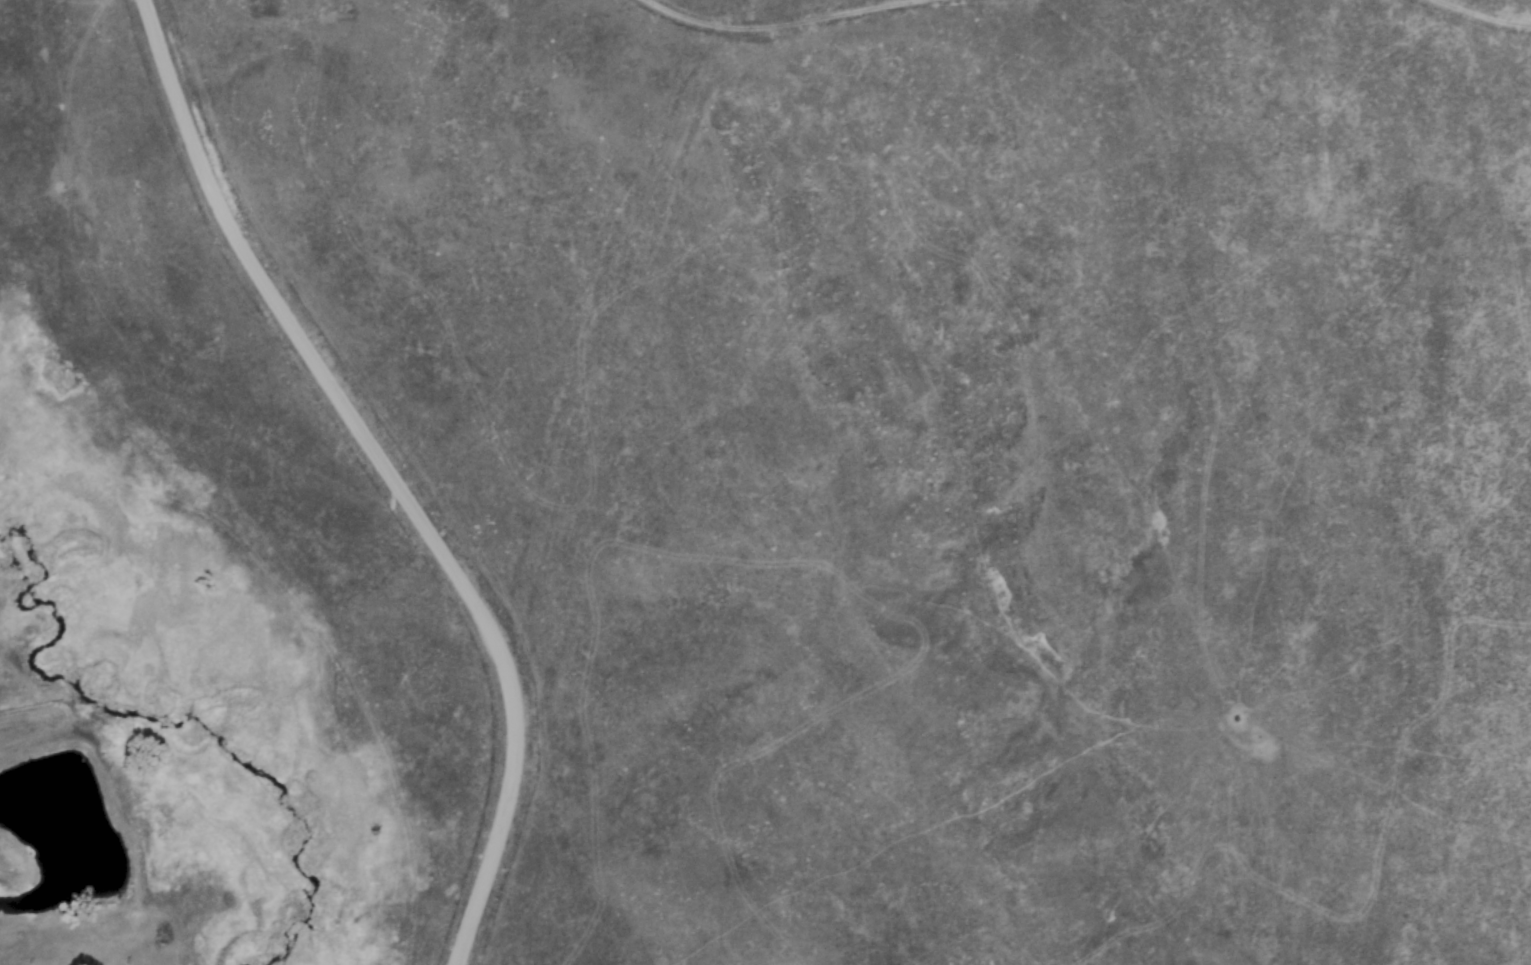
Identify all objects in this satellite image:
road: (391, 472)

